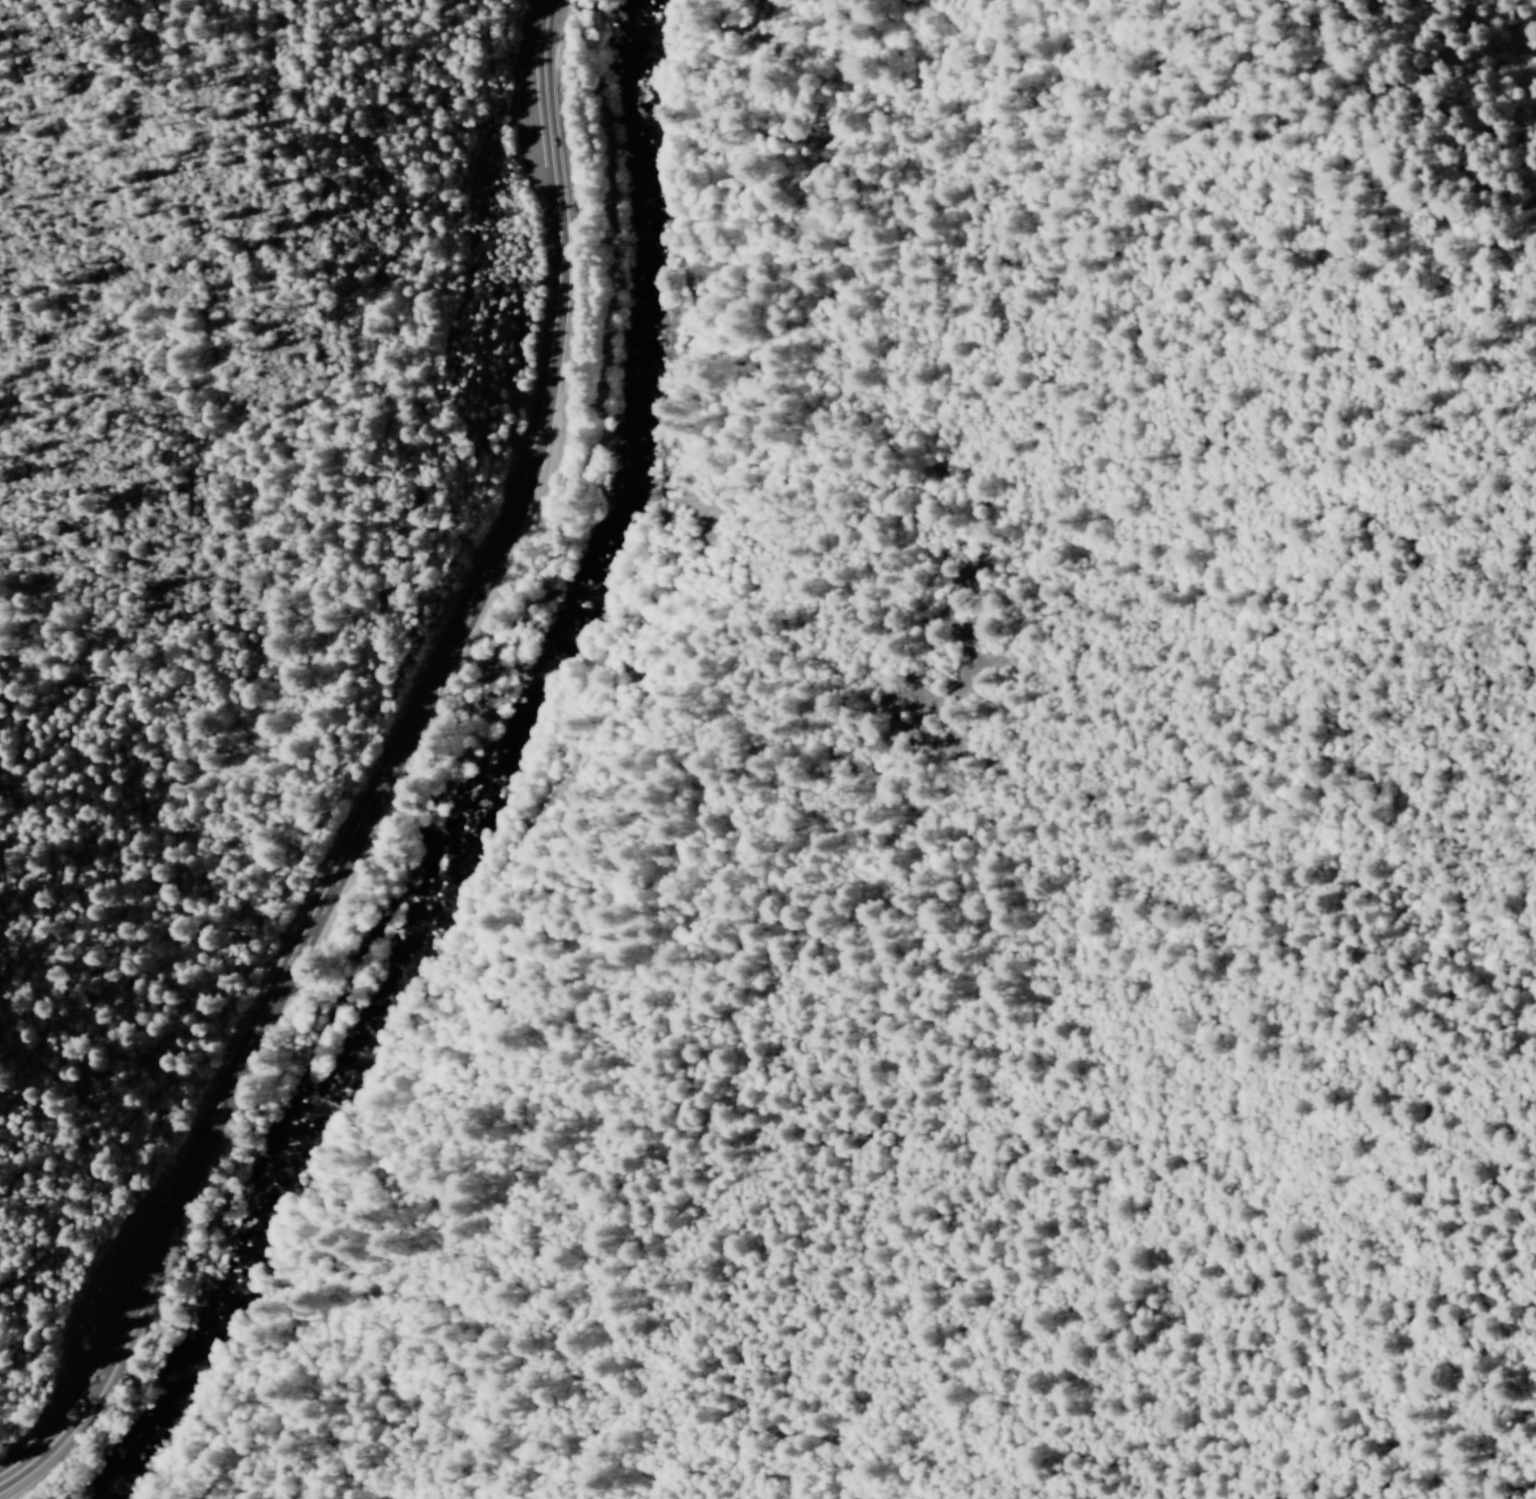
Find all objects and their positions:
river: (623, 128)
road: (558, 281)
river: (612, 389)
river: (511, 710)
road: (285, 967)
river: (254, 1190)
road: (51, 1440)

